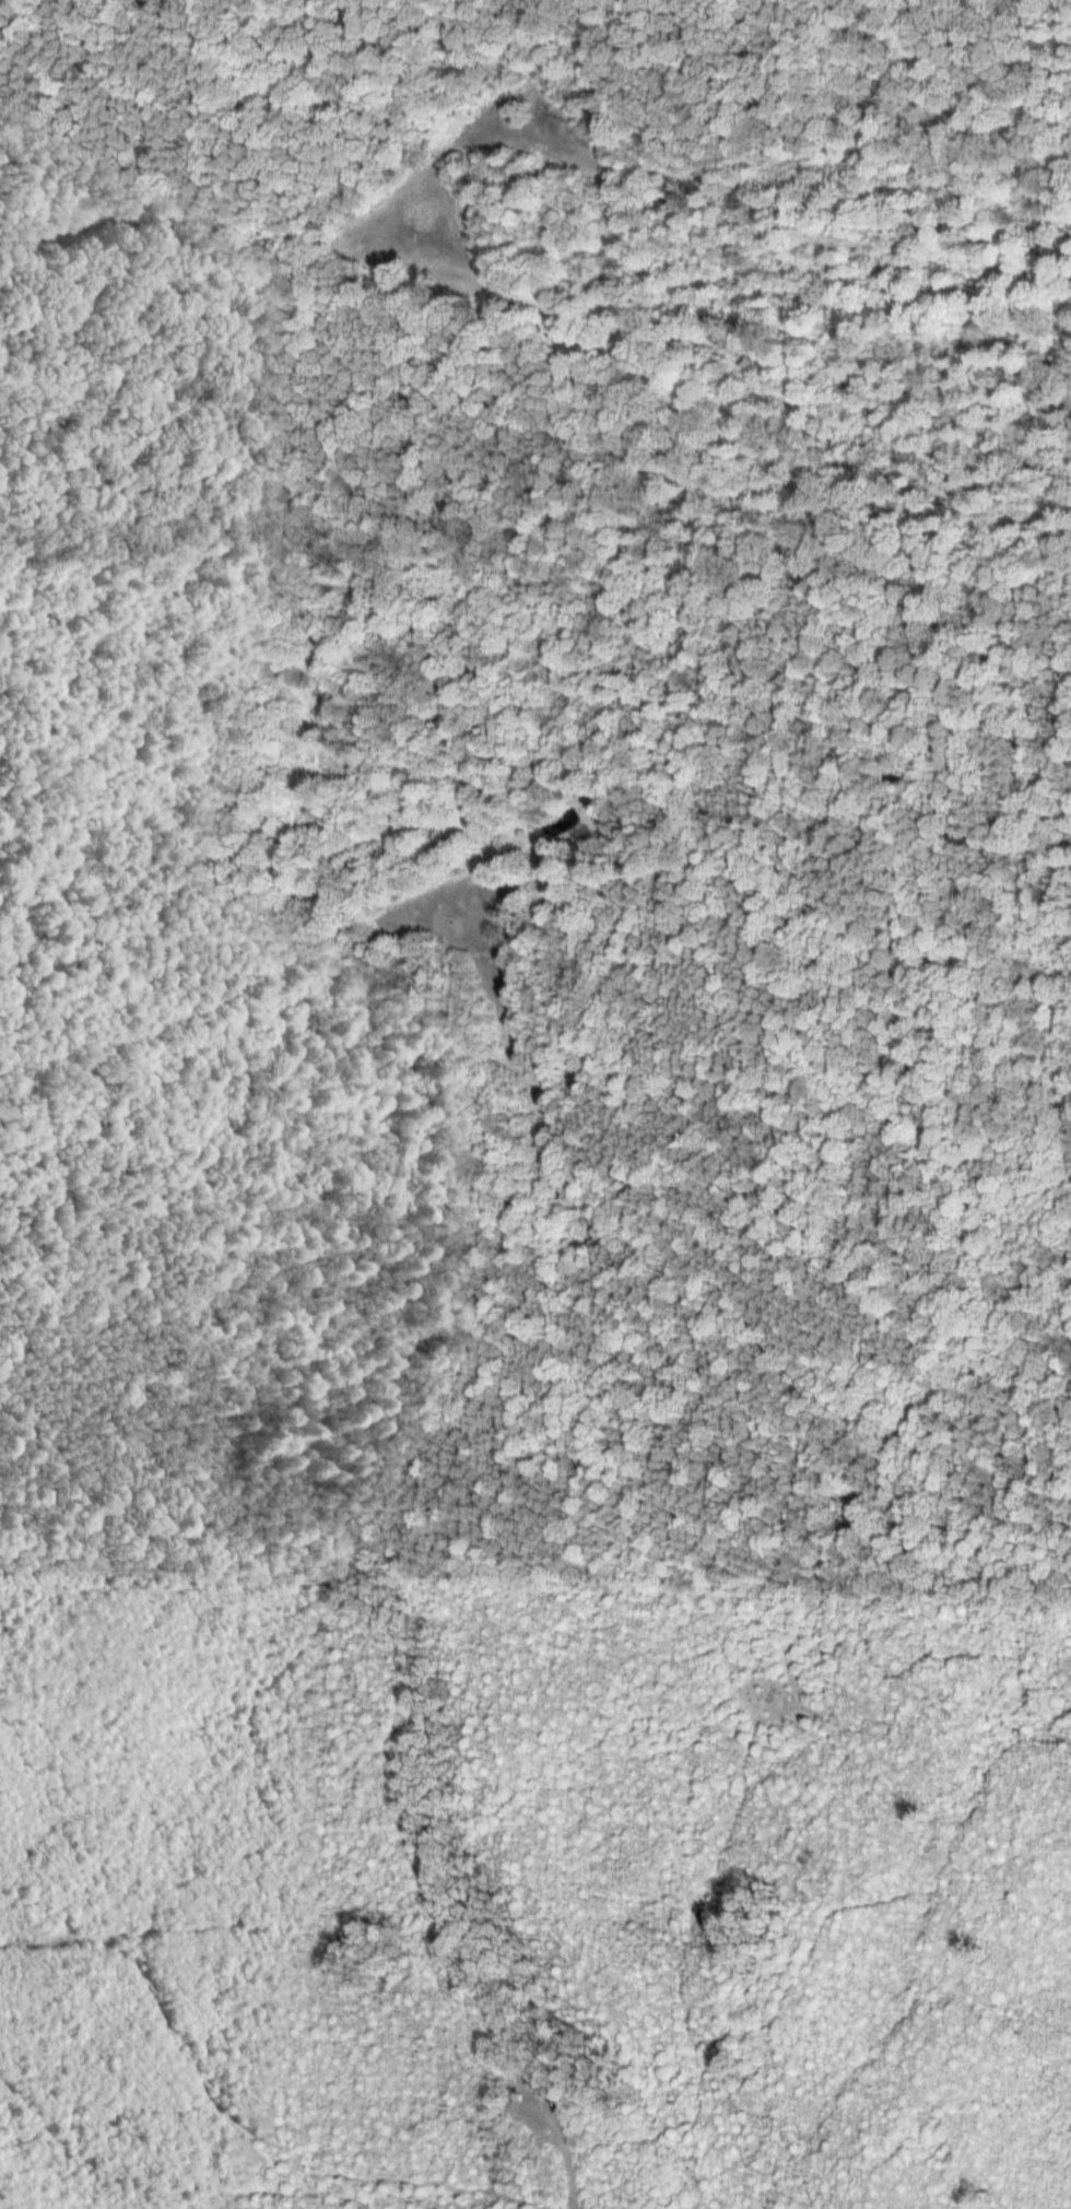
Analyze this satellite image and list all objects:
road: (556, 2192)

